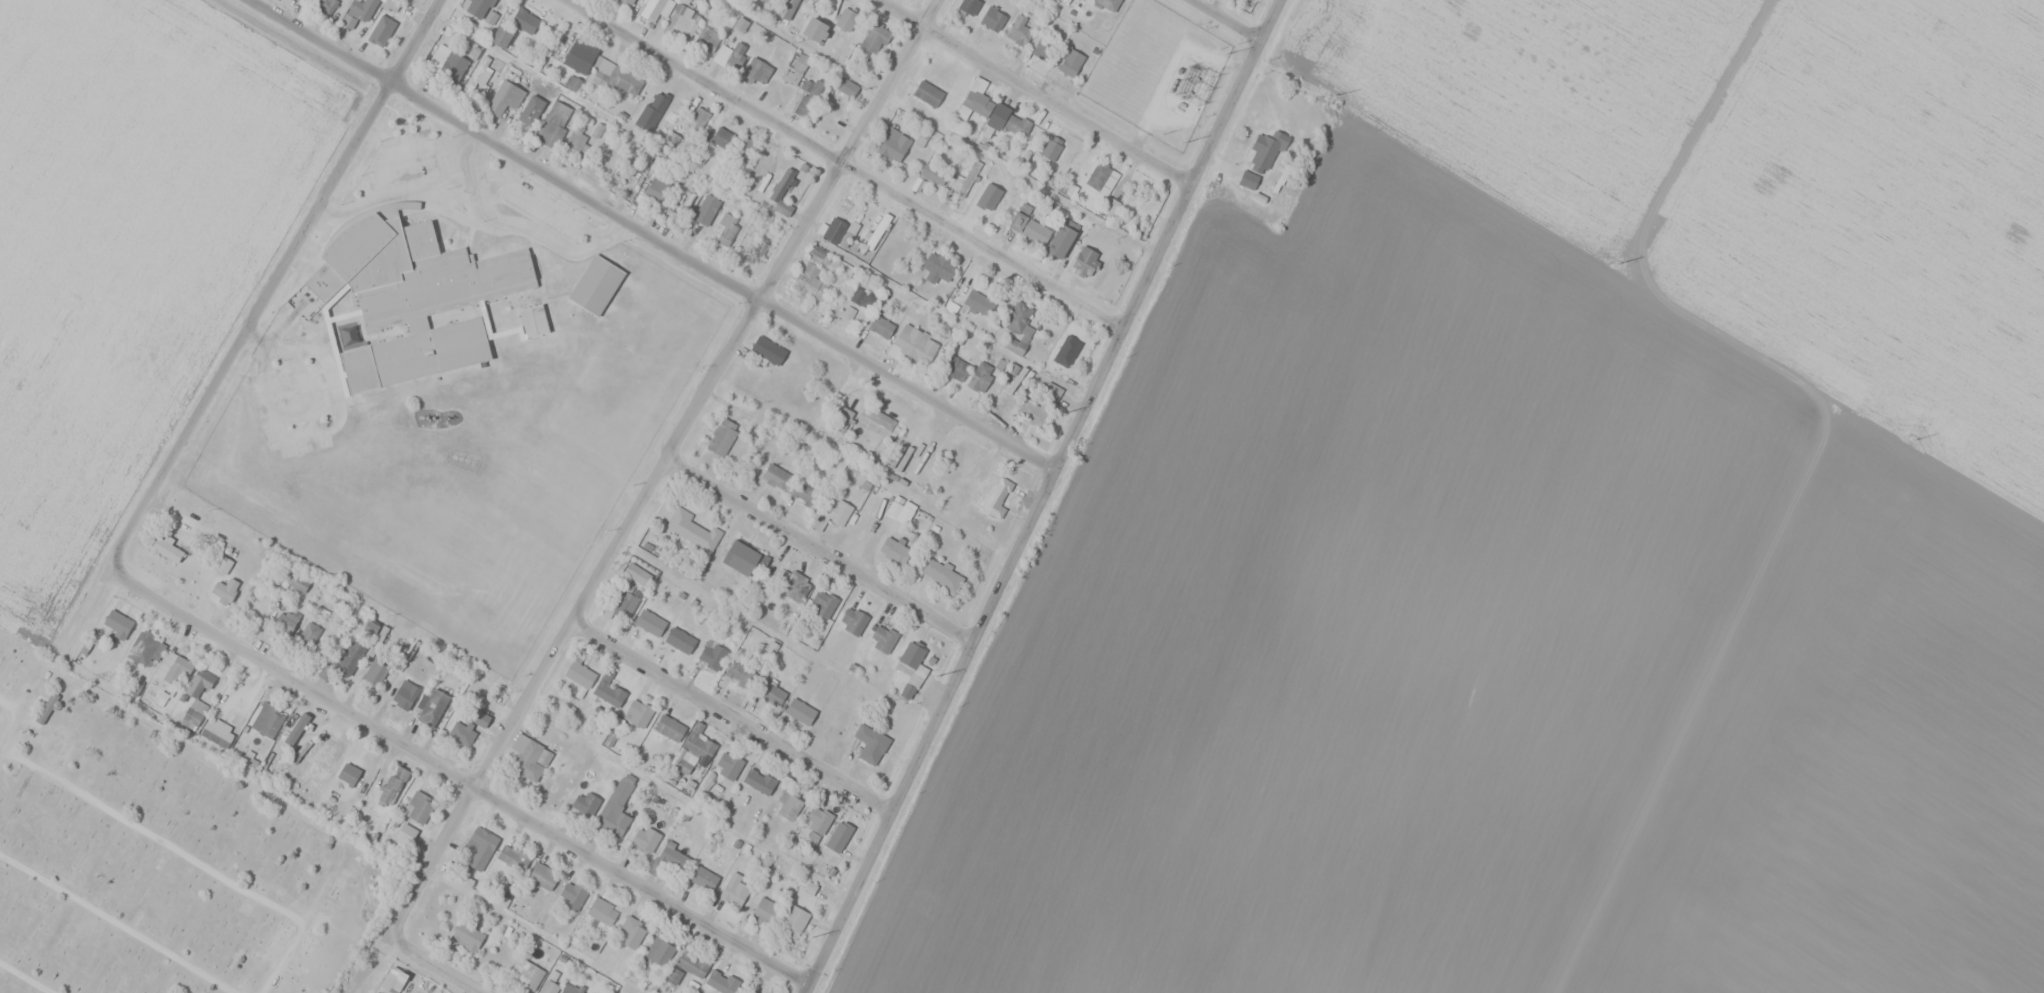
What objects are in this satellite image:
building: (628, 2)
building: (392, 4)
building: (1108, 4)
building: (788, 5)
building: (966, 6)
building: (325, 7)
building: (478, 7)
building: (655, 8)
building: (358, 12)
building: (846, 17)
building: (993, 18)
road: (1230, 20)
building: (525, 21)
building: (682, 22)
building: (385, 27)
building: (815, 29)
building: (1019, 31)
building: (501, 37)
building: (707, 38)
building: (874, 38)
building: (1043, 49)
building: (735, 53)
power tower: (1226, 53)
building: (579, 56)
building: (1070, 62)
building: (447, 63)
building: (794, 67)
building: (758, 69)
power substation: (1158, 70)
building: (617, 77)
building: (846, 87)
road: (1037, 91)
building: (537, 93)
building: (928, 93)
power tower: (1337, 94)
building: (504, 97)
building: (809, 97)
building: (975, 100)
building: (659, 101)
building: (697, 118)
building: (554, 123)
building: (1017, 124)
building: (721, 136)
road: (1689, 136)
power tower: (1183, 143)
building: (576, 144)
building: (893, 144)
building: (1051, 147)
building: (1267, 148)
road: (1412, 154)
road: (847, 164)
building: (934, 172)
building: (965, 176)
building: (996, 177)
building: (1102, 177)
building: (653, 186)
building: (781, 191)
building: (705, 209)
building: (1029, 227)
building: (726, 233)
road: (1170, 234)
building: (1065, 237)
road: (650, 239)
building: (756, 250)
building: (1093, 262)
power tower: (1617, 263)
building: (936, 267)
building: (811, 274)
building: (461, 276)
building: (597, 289)
building: (862, 297)
building: (978, 301)
road: (246, 323)
building: (533, 324)
building: (881, 325)
building: (1018, 327)
building: (916, 342)
building: (1072, 346)
building: (768, 349)
building: (418, 353)
building: (955, 367)
building: (980, 376)
power tower: (1061, 414)
building: (878, 416)
building: (841, 417)
building: (722, 436)
power tower: (1916, 440)
road: (664, 465)
building: (777, 476)
building: (803, 493)
building: (998, 497)
building: (831, 512)
building: (904, 512)
building: (691, 529)
building: (894, 550)
building: (167, 551)
road: (820, 553)
road: (1016, 557)
building: (744, 558)
building: (222, 567)
building: (637, 573)
building: (940, 573)
building: (298, 582)
building: (793, 585)
building: (226, 589)
building: (625, 603)
building: (823, 603)
building: (853, 620)
building: (285, 621)
building: (650, 622)
building: (117, 625)
building: (308, 635)
building: (883, 638)
building: (680, 640)
building: (145, 652)
building: (349, 655)
building: (715, 656)
building: (911, 667)
building: (375, 671)
building: (173, 672)
building: (580, 674)
building: (740, 675)
power tower: (937, 677)
building: (203, 686)
building: (608, 690)
building: (771, 693)
building: (404, 694)
road: (29, 698)
road: (10, 705)
building: (433, 707)
building: (44, 711)
building: (800, 711)
building: (638, 712)
road: (731, 719)
building: (264, 721)
building: (468, 725)
building: (669, 727)
building: (297, 732)
building: (217, 736)
building: (699, 742)
building: (870, 743)
building: (303, 753)
building: (529, 758)
building: (685, 762)
building: (728, 765)
road: (456, 770)
building: (348, 776)
building: (759, 780)
building: (393, 789)
building: (586, 803)
building: (788, 804)
building: (354, 805)
building: (616, 806)
building: (419, 807)
road: (891, 817)
building: (818, 820)
road: (152, 833)
building: (407, 835)
building: (839, 836)
building: (645, 839)
building: (480, 847)
park: (160, 854)
building: (513, 857)
building: (542, 876)
building: (703, 878)
building: (735, 889)
building: (572, 895)
building: (602, 911)
building: (765, 912)
road: (117, 923)
building: (792, 923)
building: (631, 932)
building: (468, 935)
power tower: (811, 940)
building: (663, 948)
road: (282, 956)
building: (692, 964)
road: (445, 965)
building: (526, 973)
road: (27, 977)
building: (394, 980)
building: (721, 981)
building: (556, 987)

